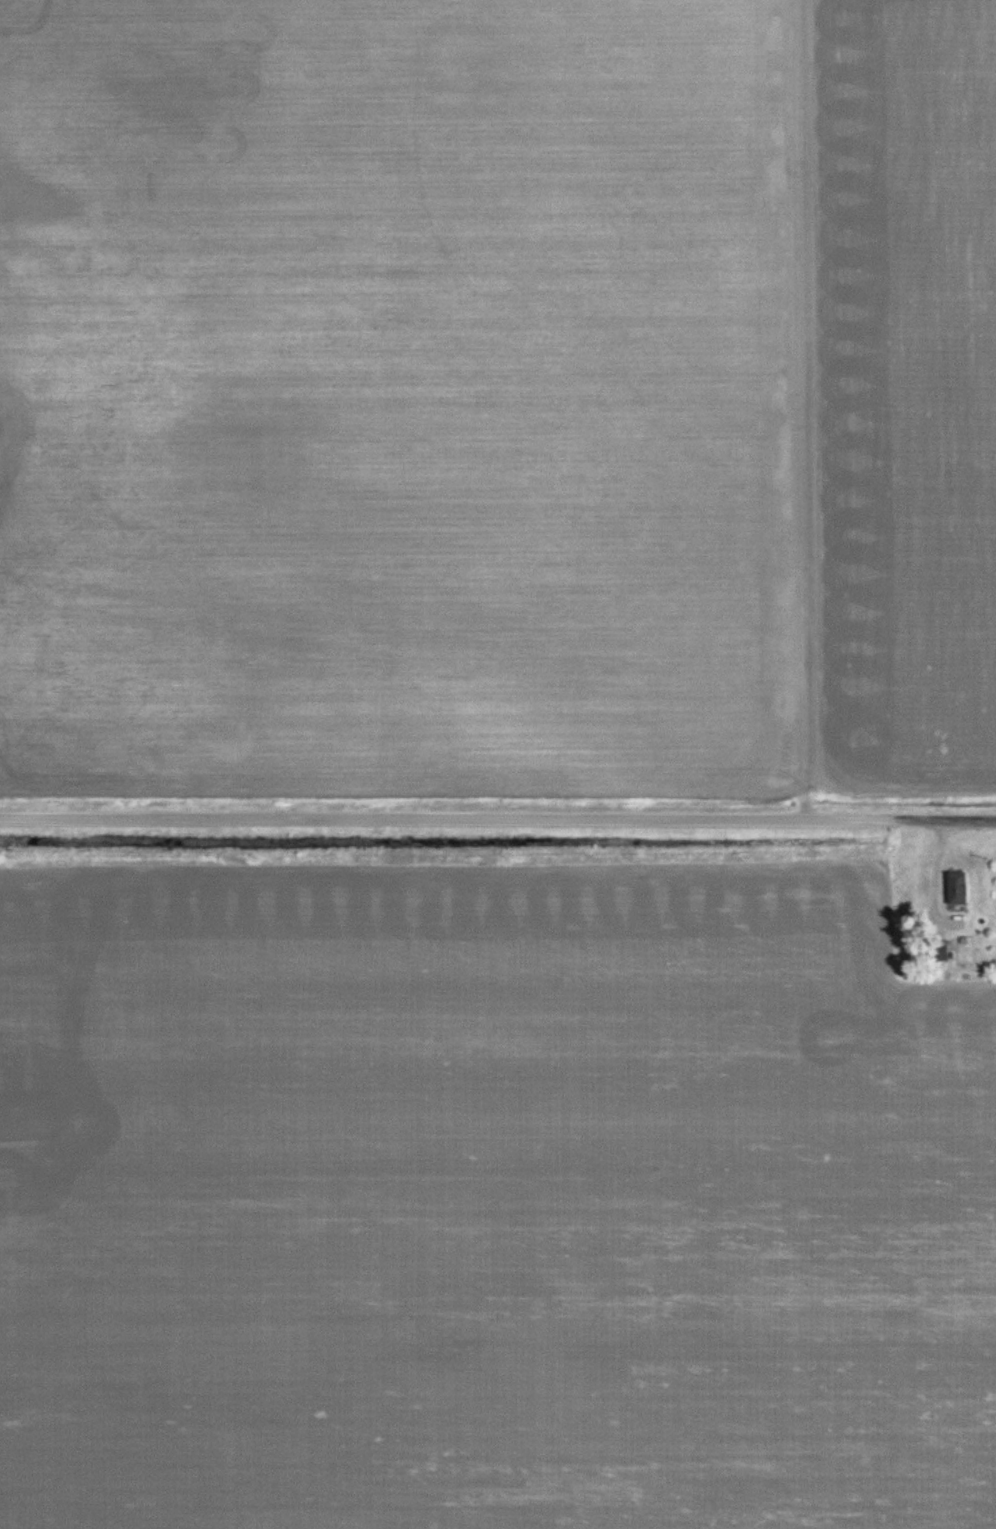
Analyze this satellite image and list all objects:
road: (497, 820)
building: (951, 888)
building: (936, 951)

